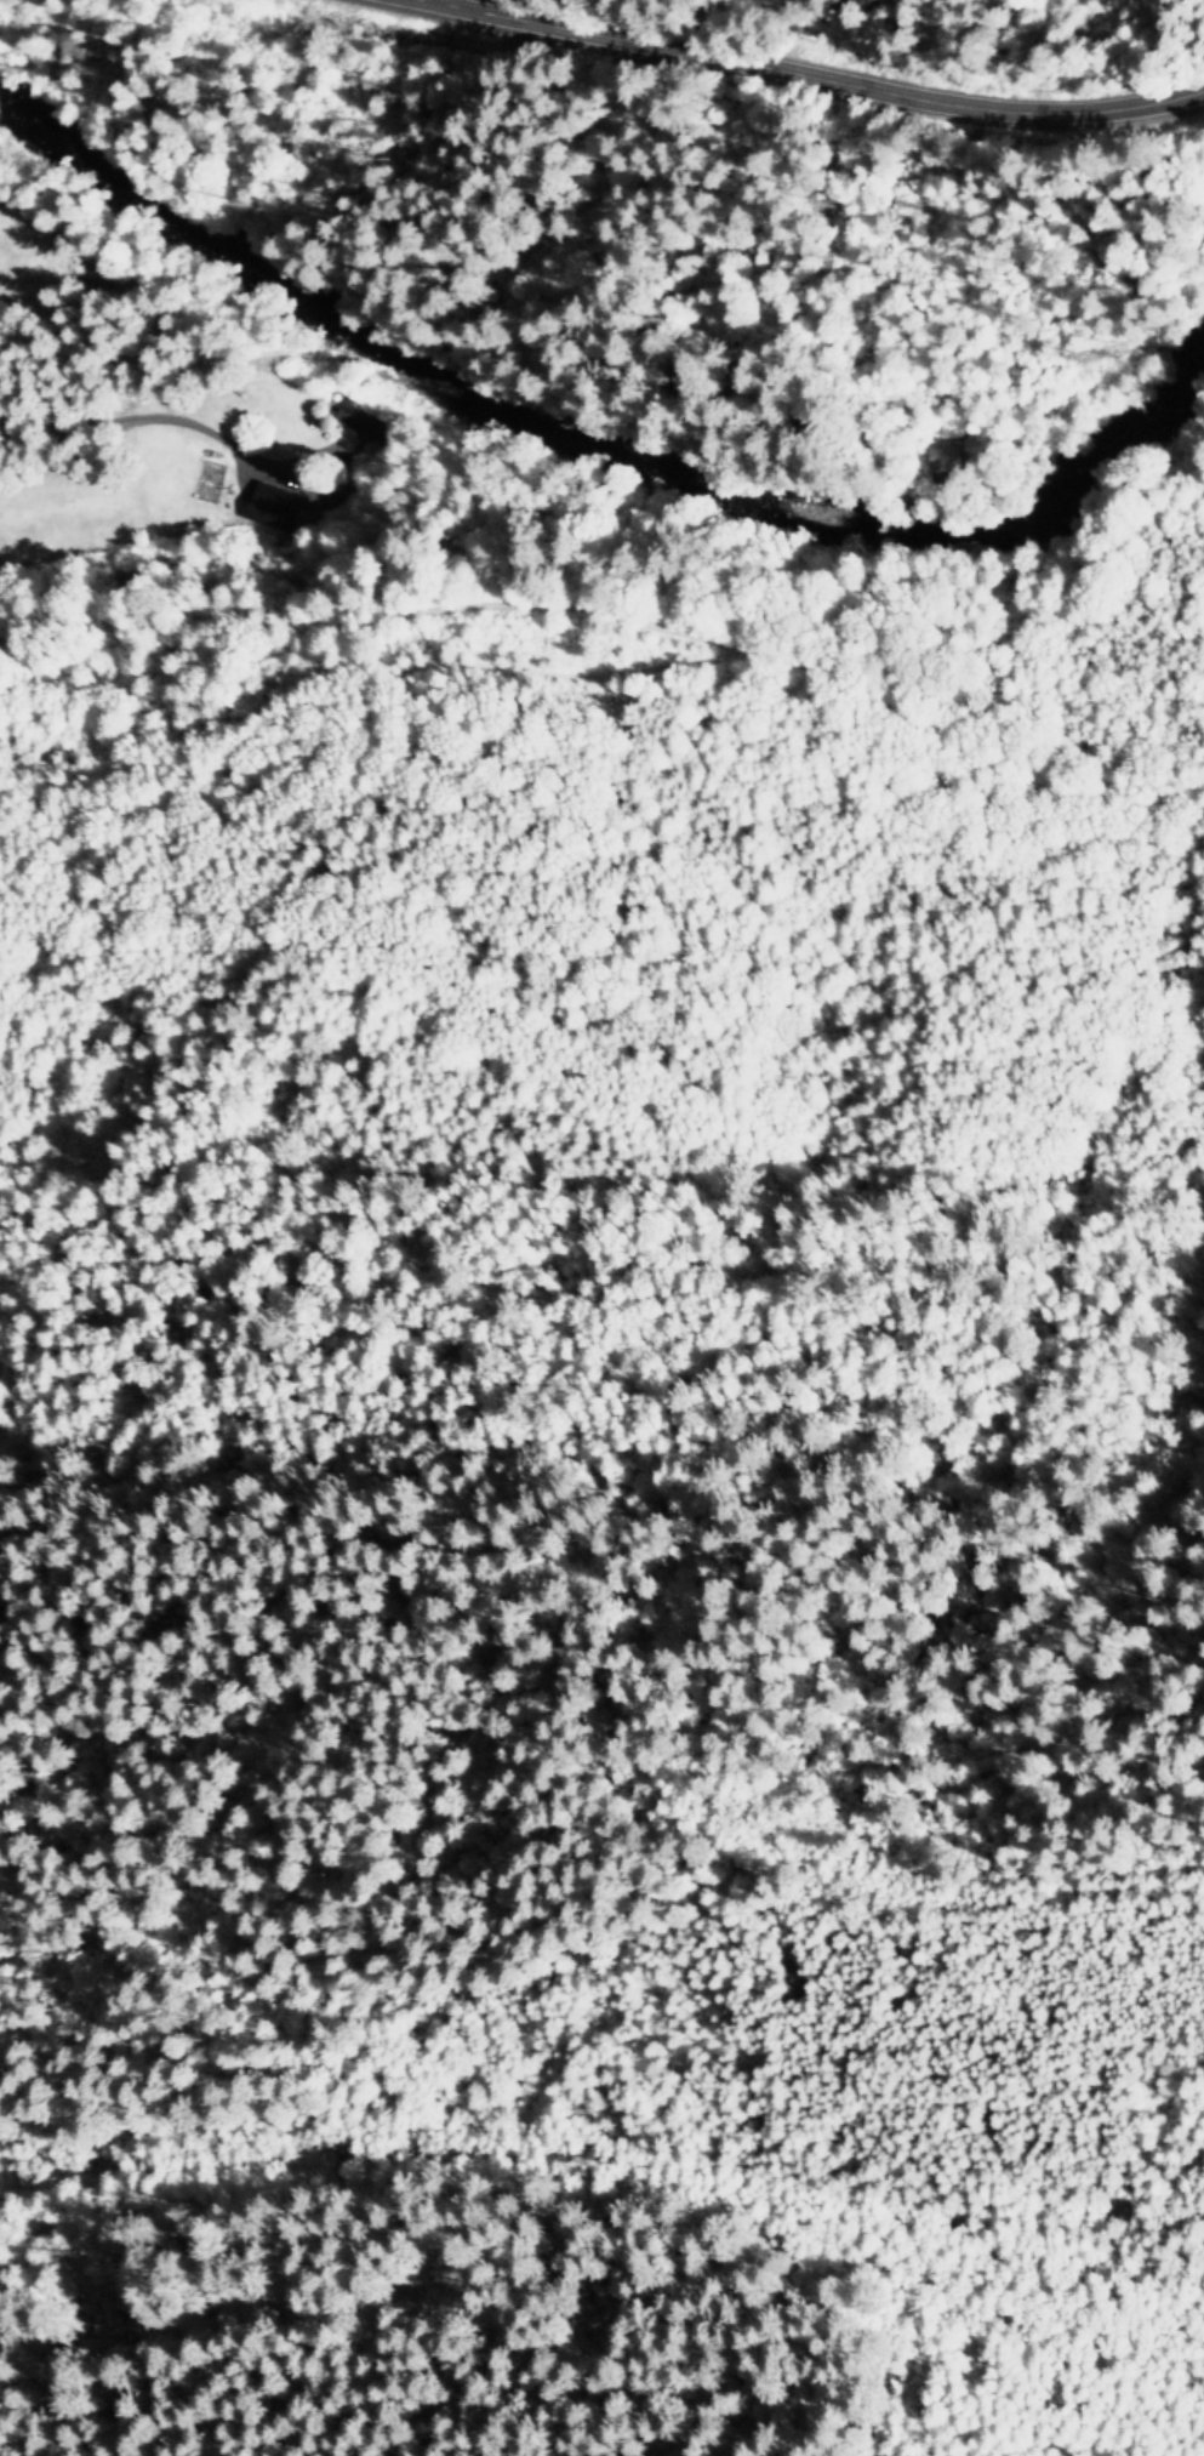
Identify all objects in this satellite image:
road: (429, 1)
road: (809, 81)
road: (210, 412)
river: (592, 449)
road: (620, 643)
road: (423, 2154)

